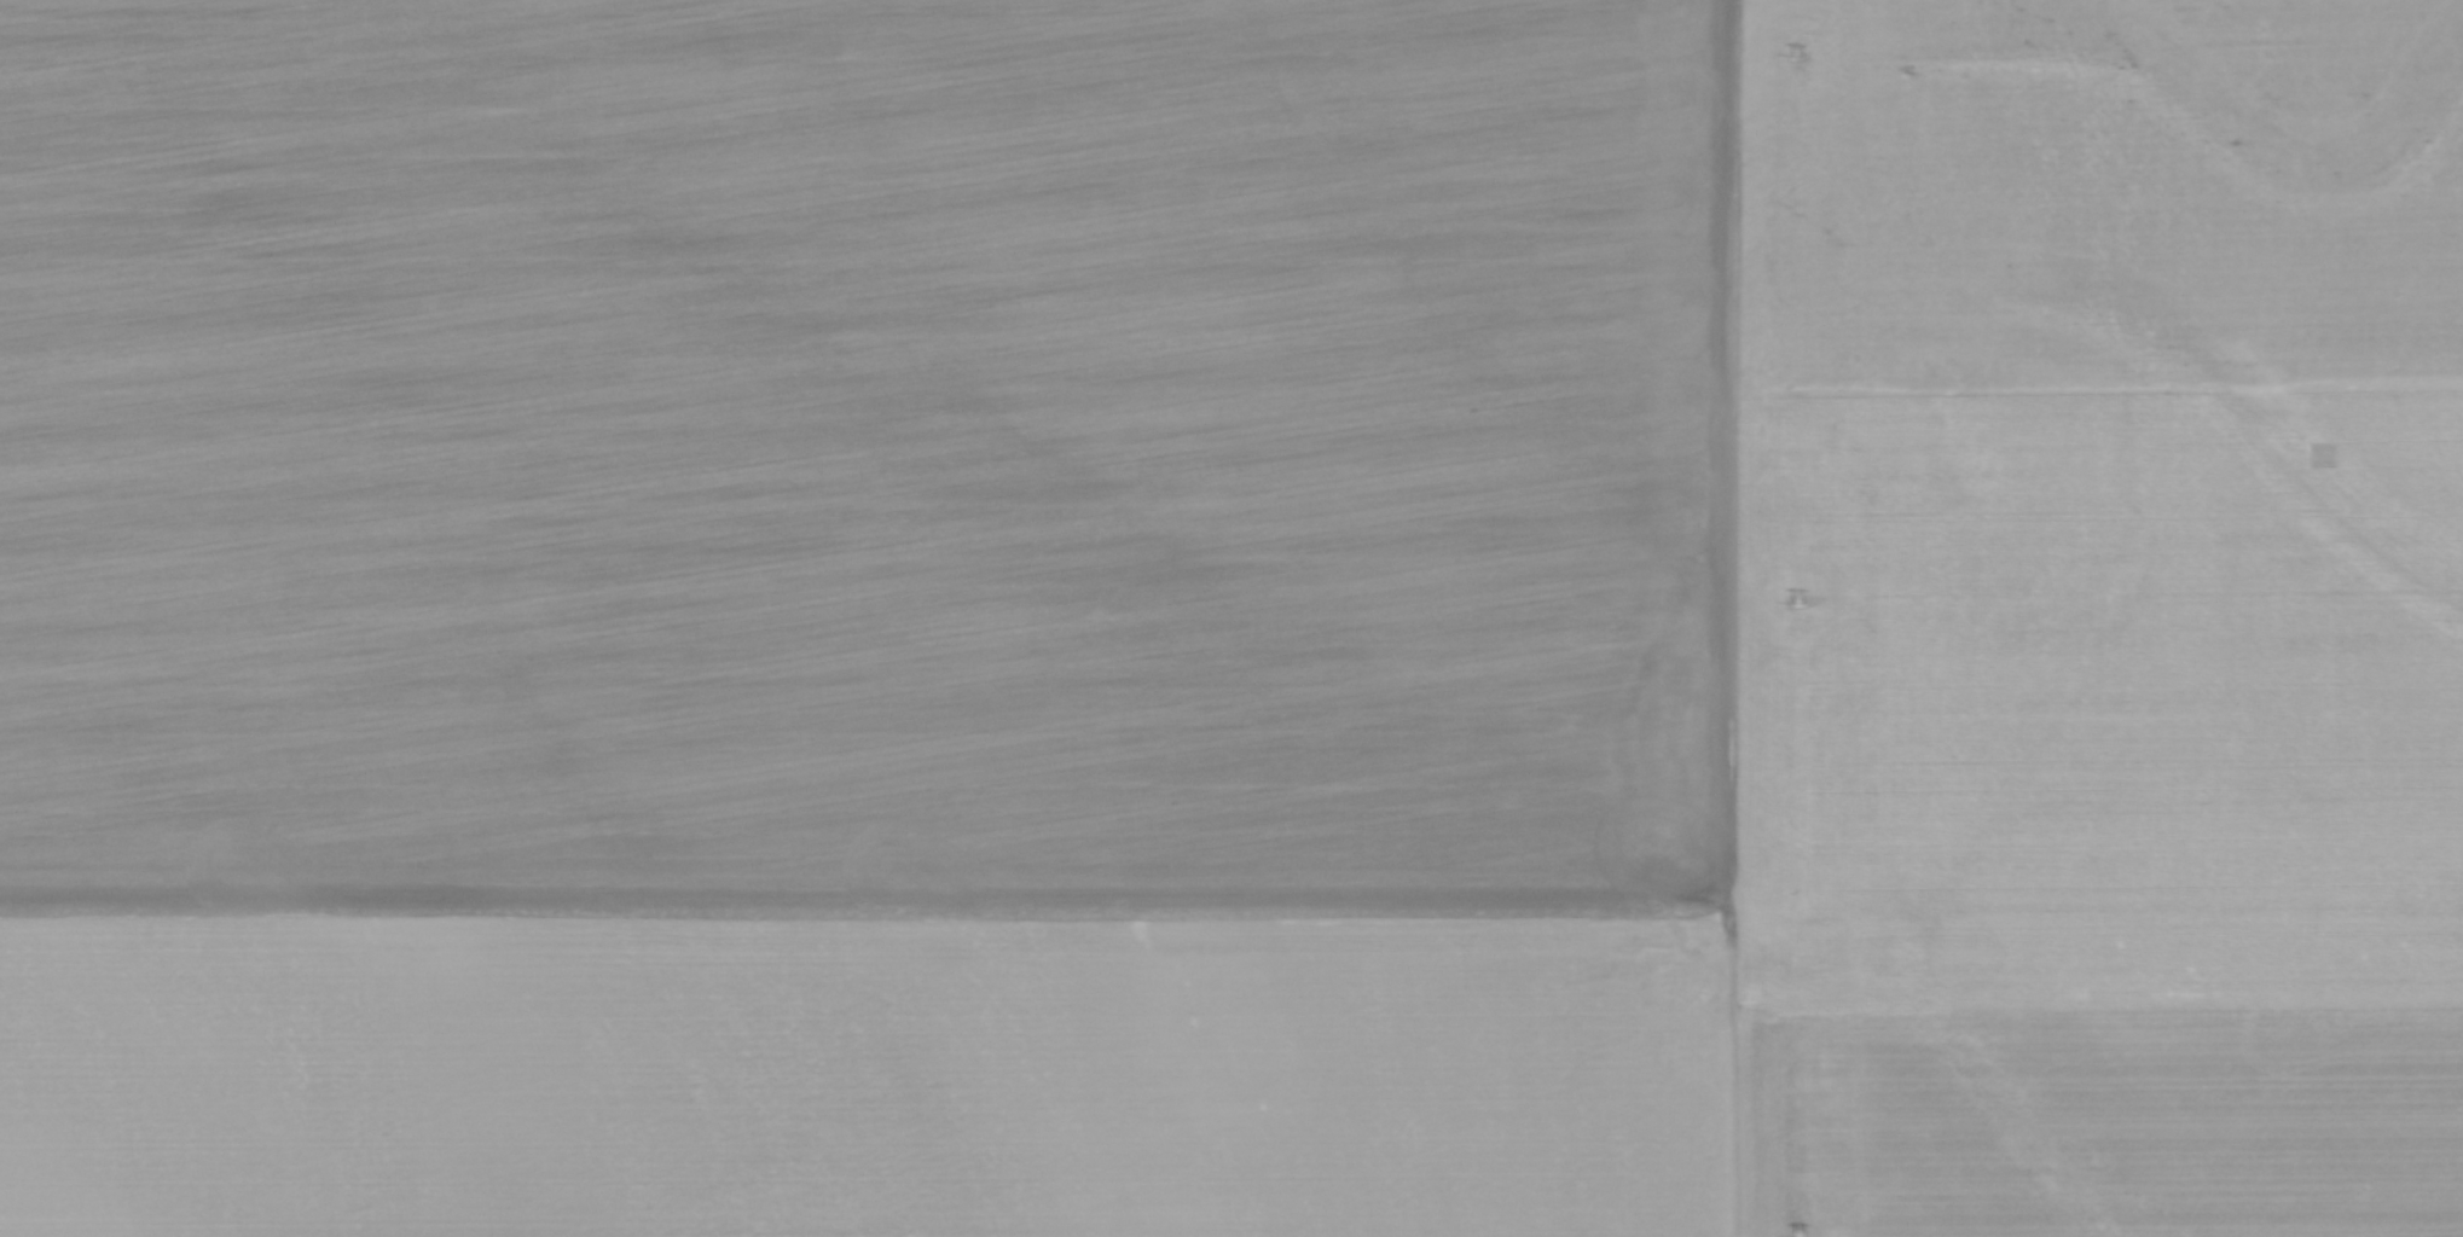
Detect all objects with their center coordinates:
power tower: (1795, 56)
power tower: (1798, 604)
crop: (1231, 618)

